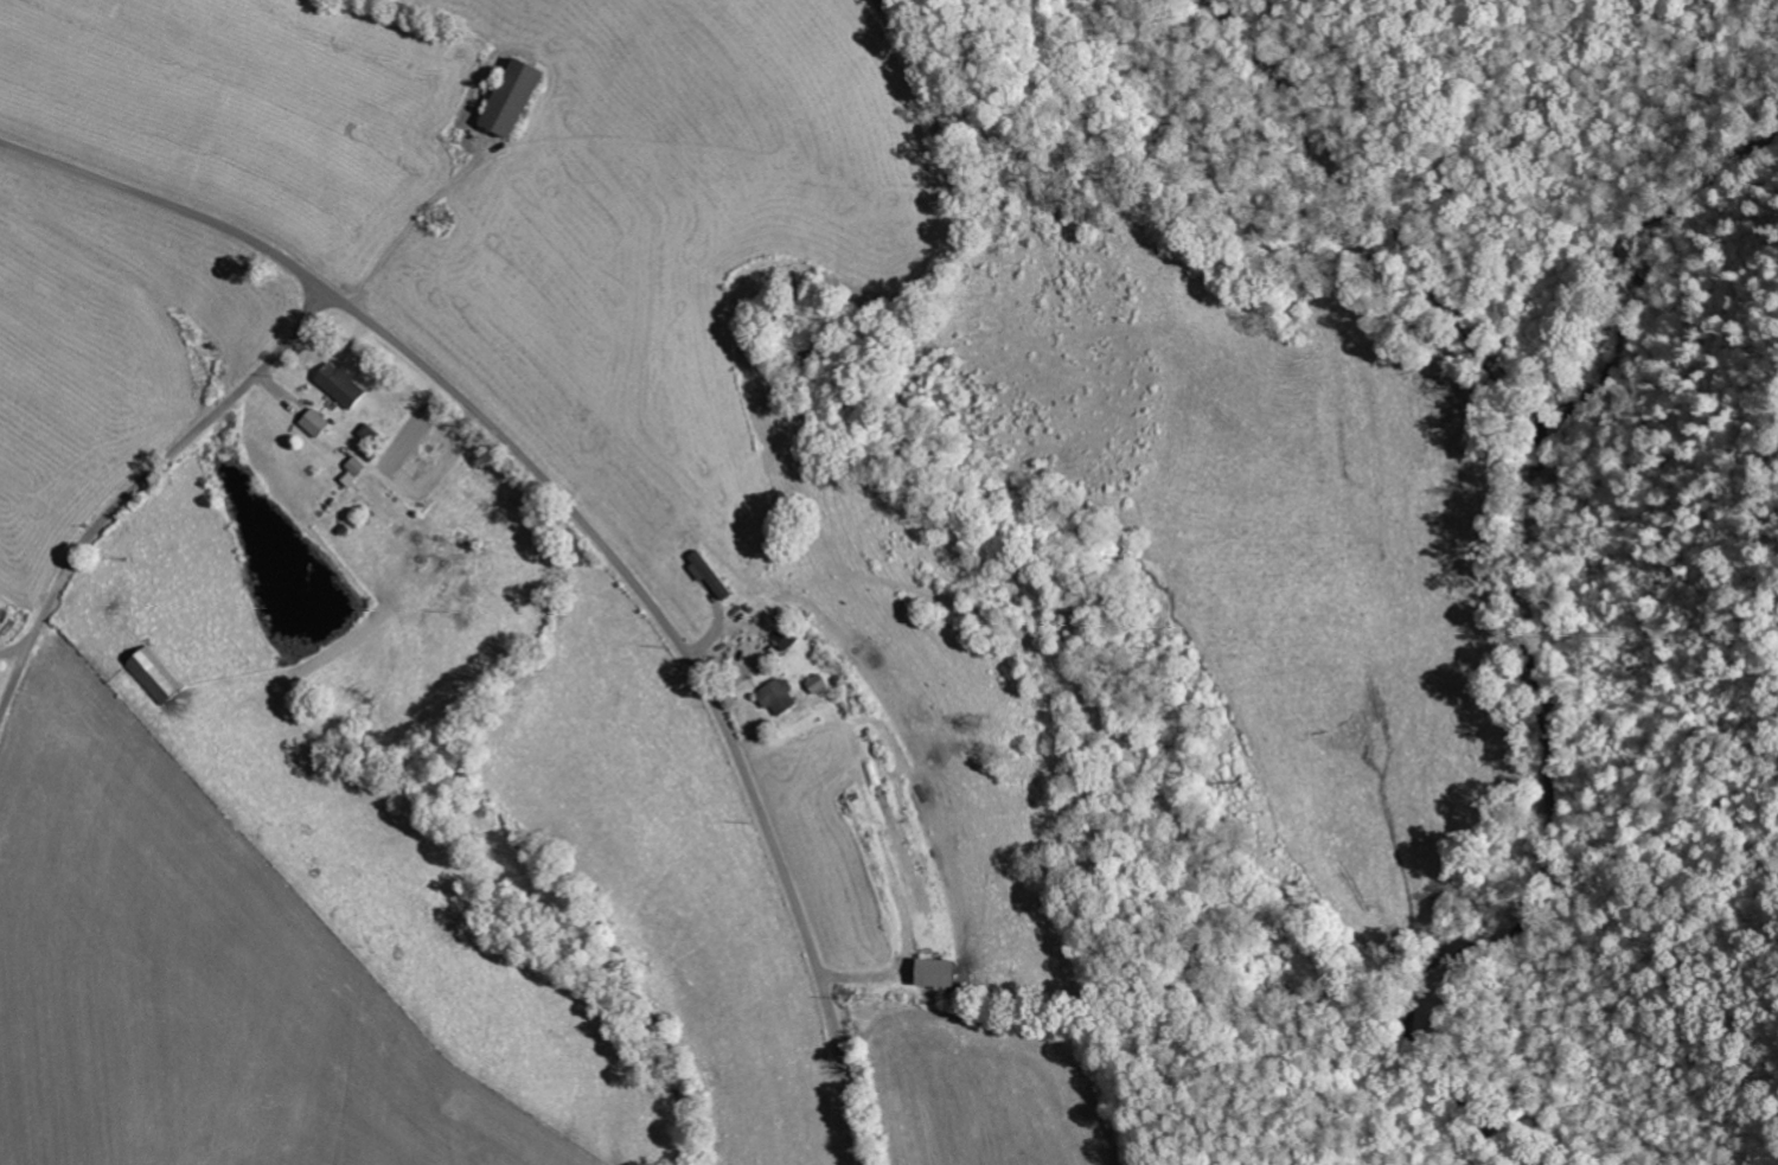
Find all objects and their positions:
road: (1501, 17)
building: (514, 95)
building: (343, 383)
building: (315, 421)
road: (139, 485)
road: (582, 524)
building: (787, 636)
building: (155, 674)
building: (818, 681)
building: (778, 694)
building: (938, 972)

